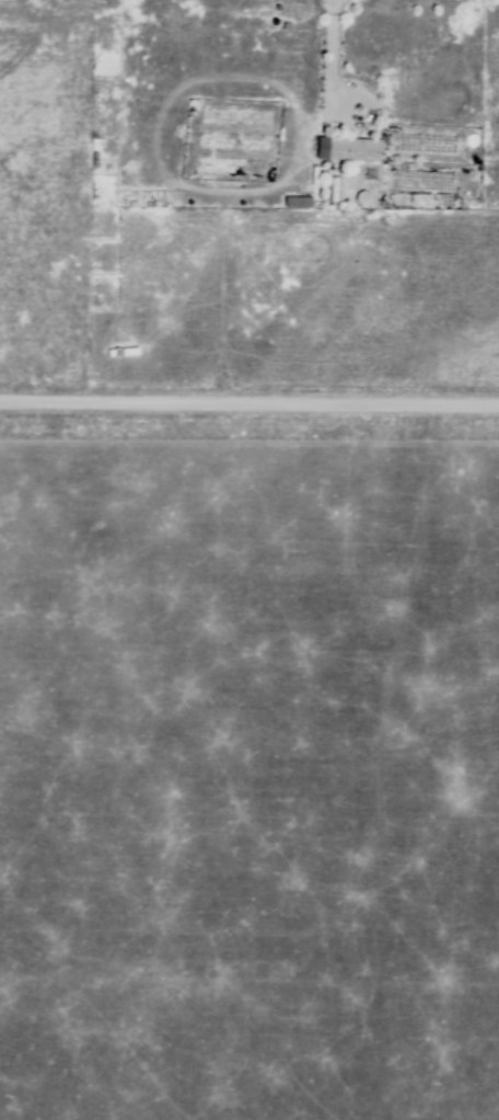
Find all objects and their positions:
building: (350, 149)
building: (297, 204)
road: (249, 407)

